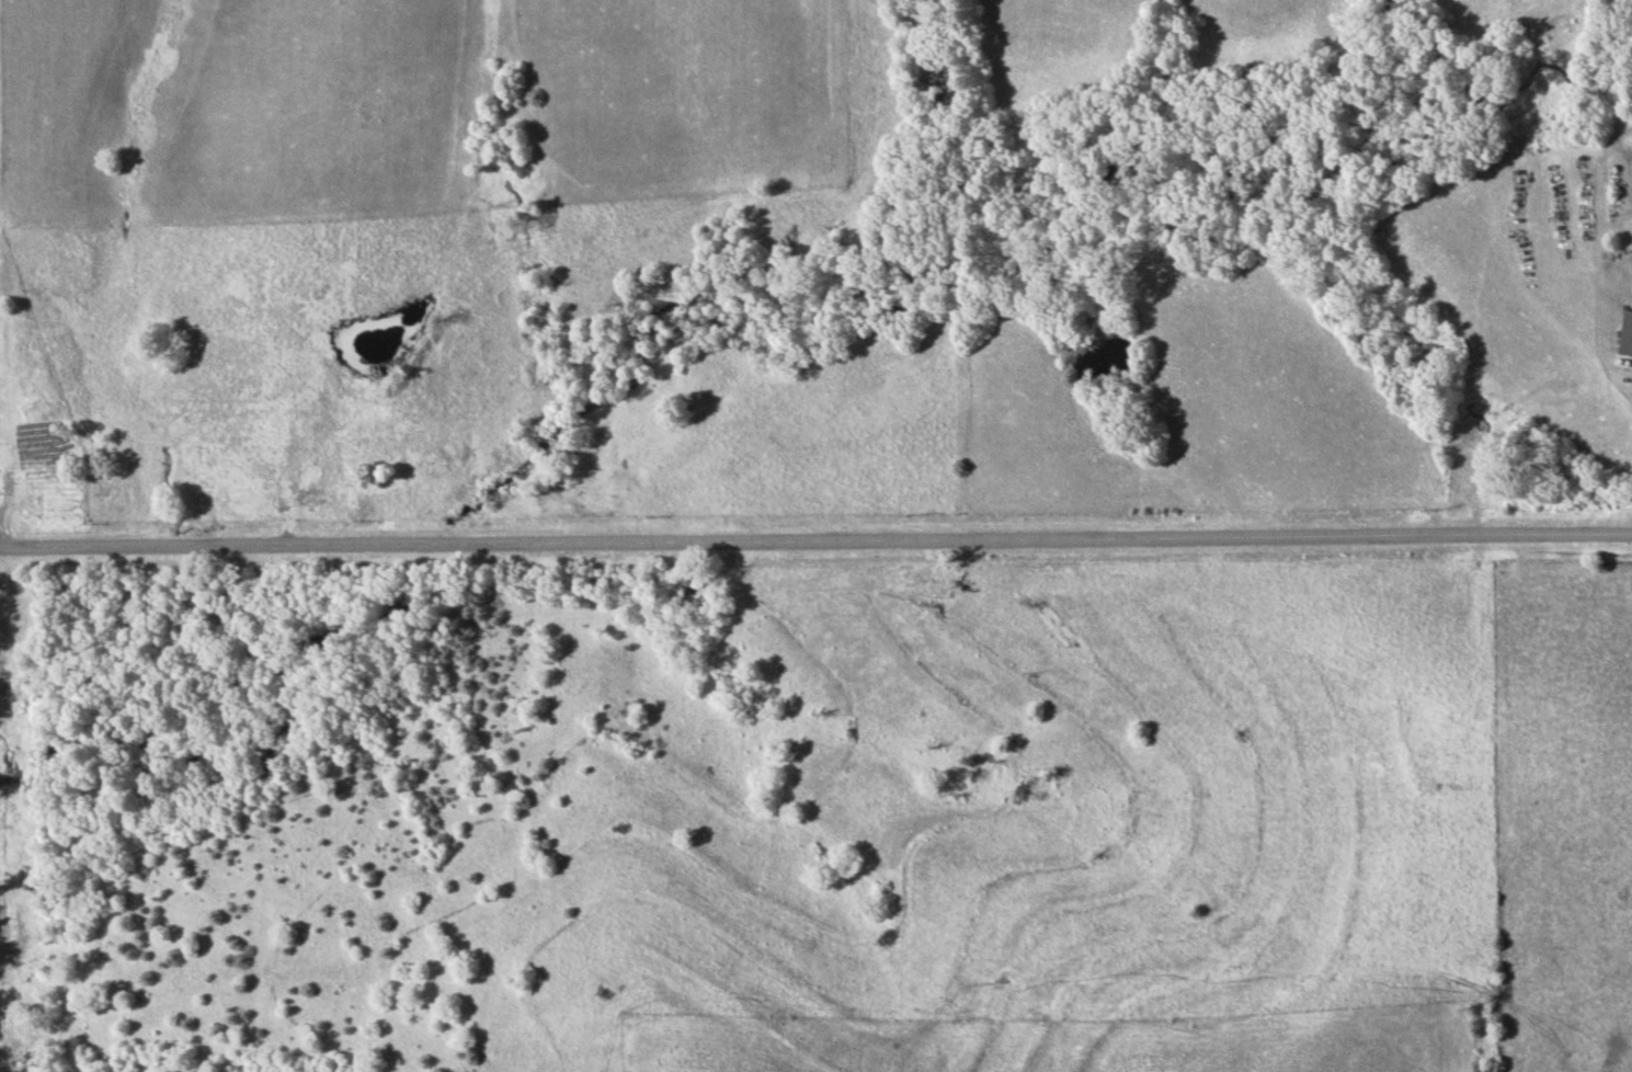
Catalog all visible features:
building: (1625, 335)
road: (815, 538)

